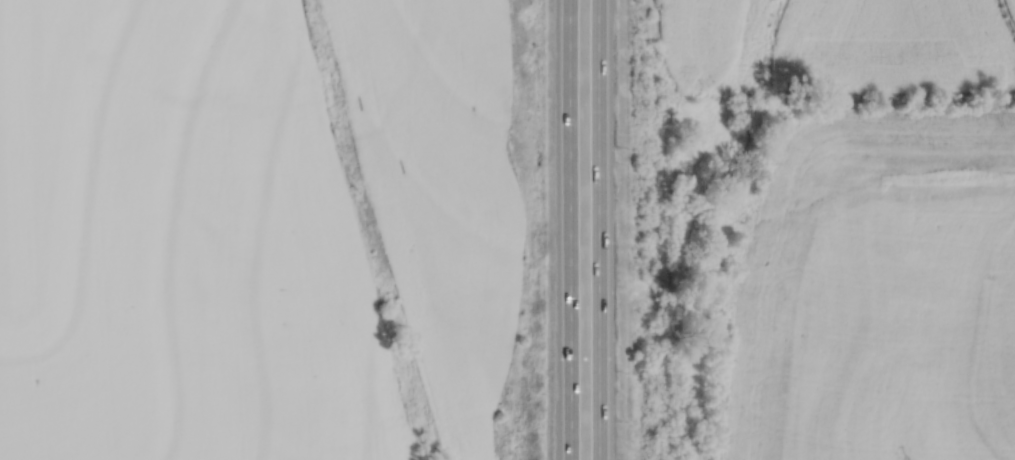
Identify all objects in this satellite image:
road: (595, 229)
road: (567, 230)

